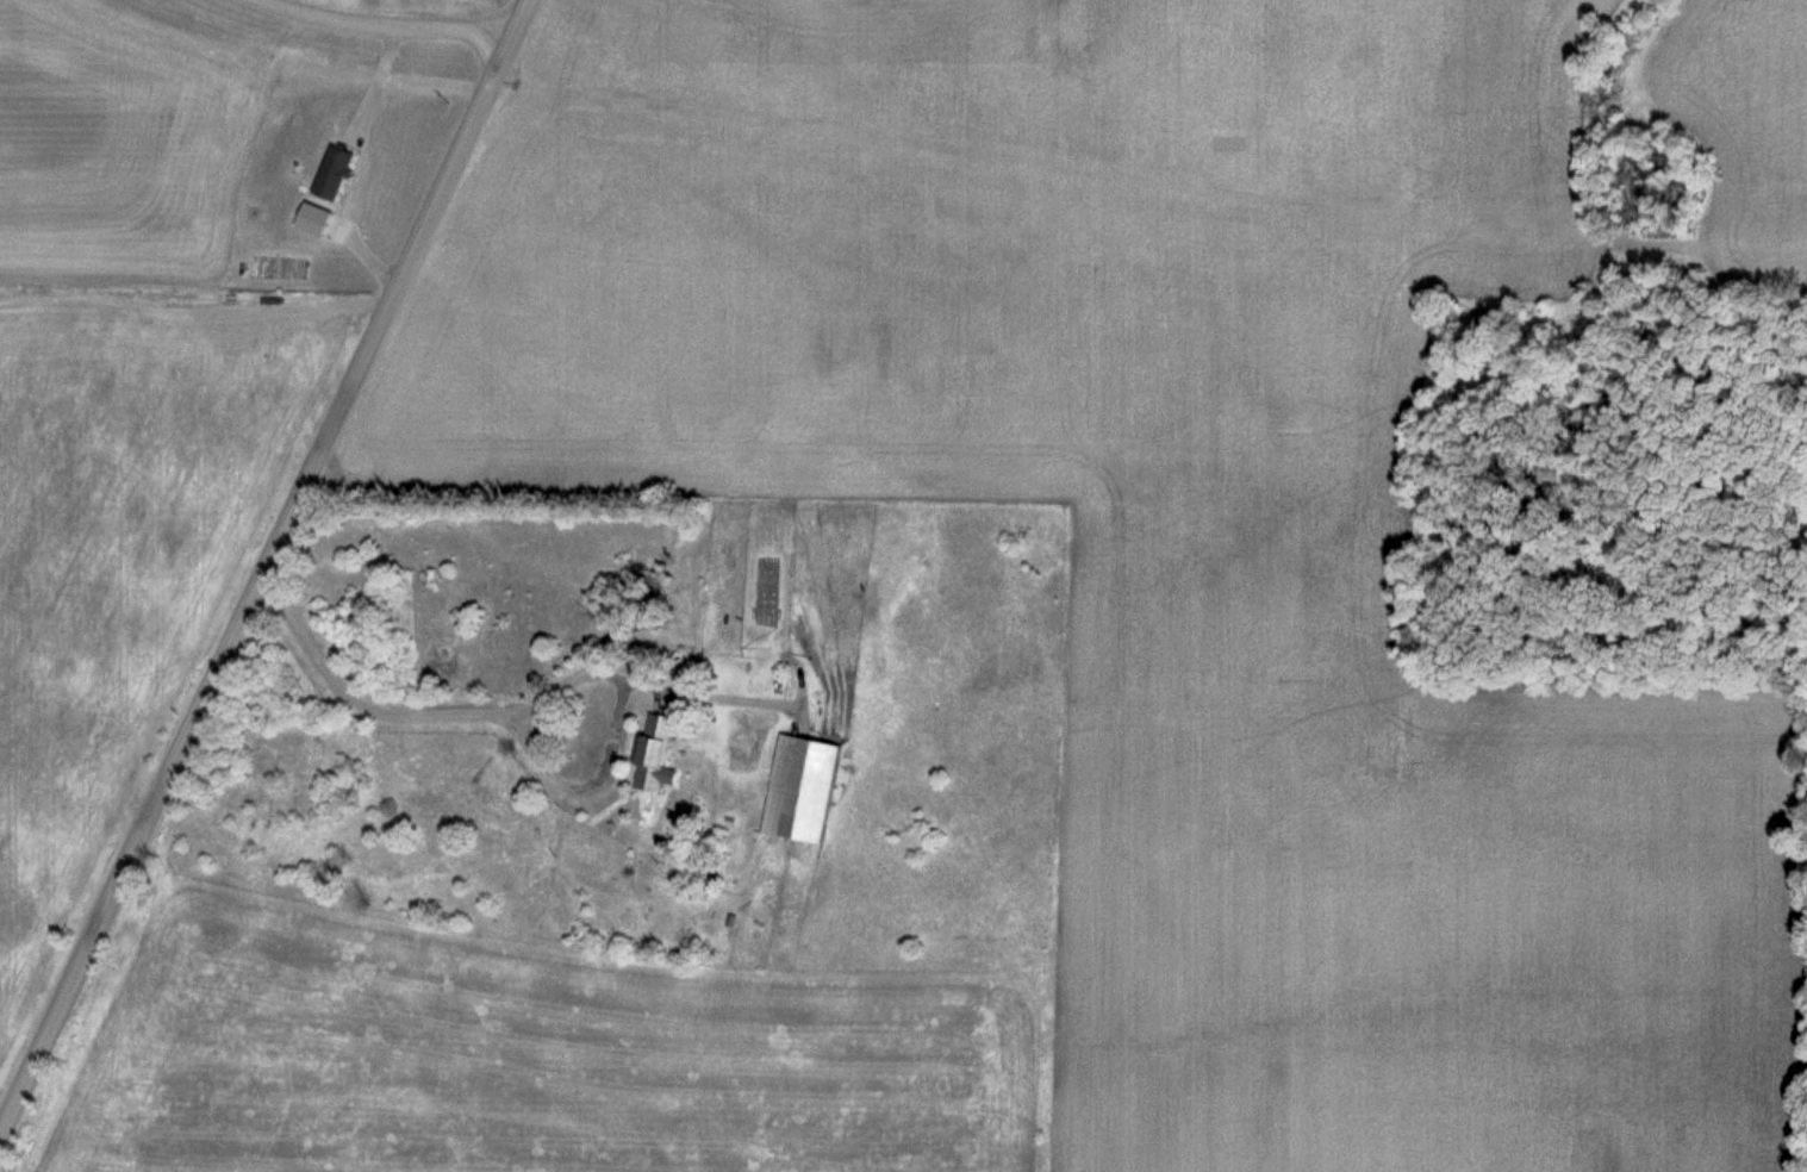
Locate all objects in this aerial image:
road: (395, 18)
road: (370, 79)
road: (263, 562)
road: (448, 711)
building: (660, 754)
building: (803, 788)

